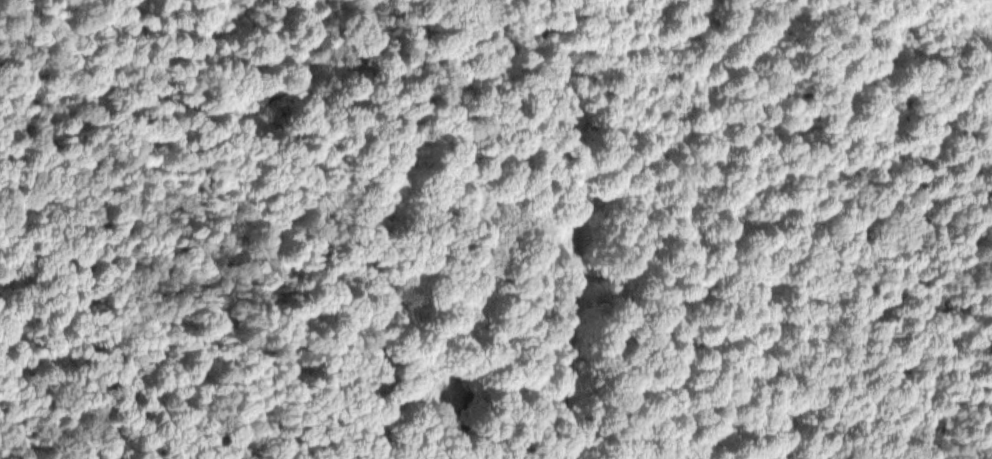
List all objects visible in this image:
road: (579, 225)

